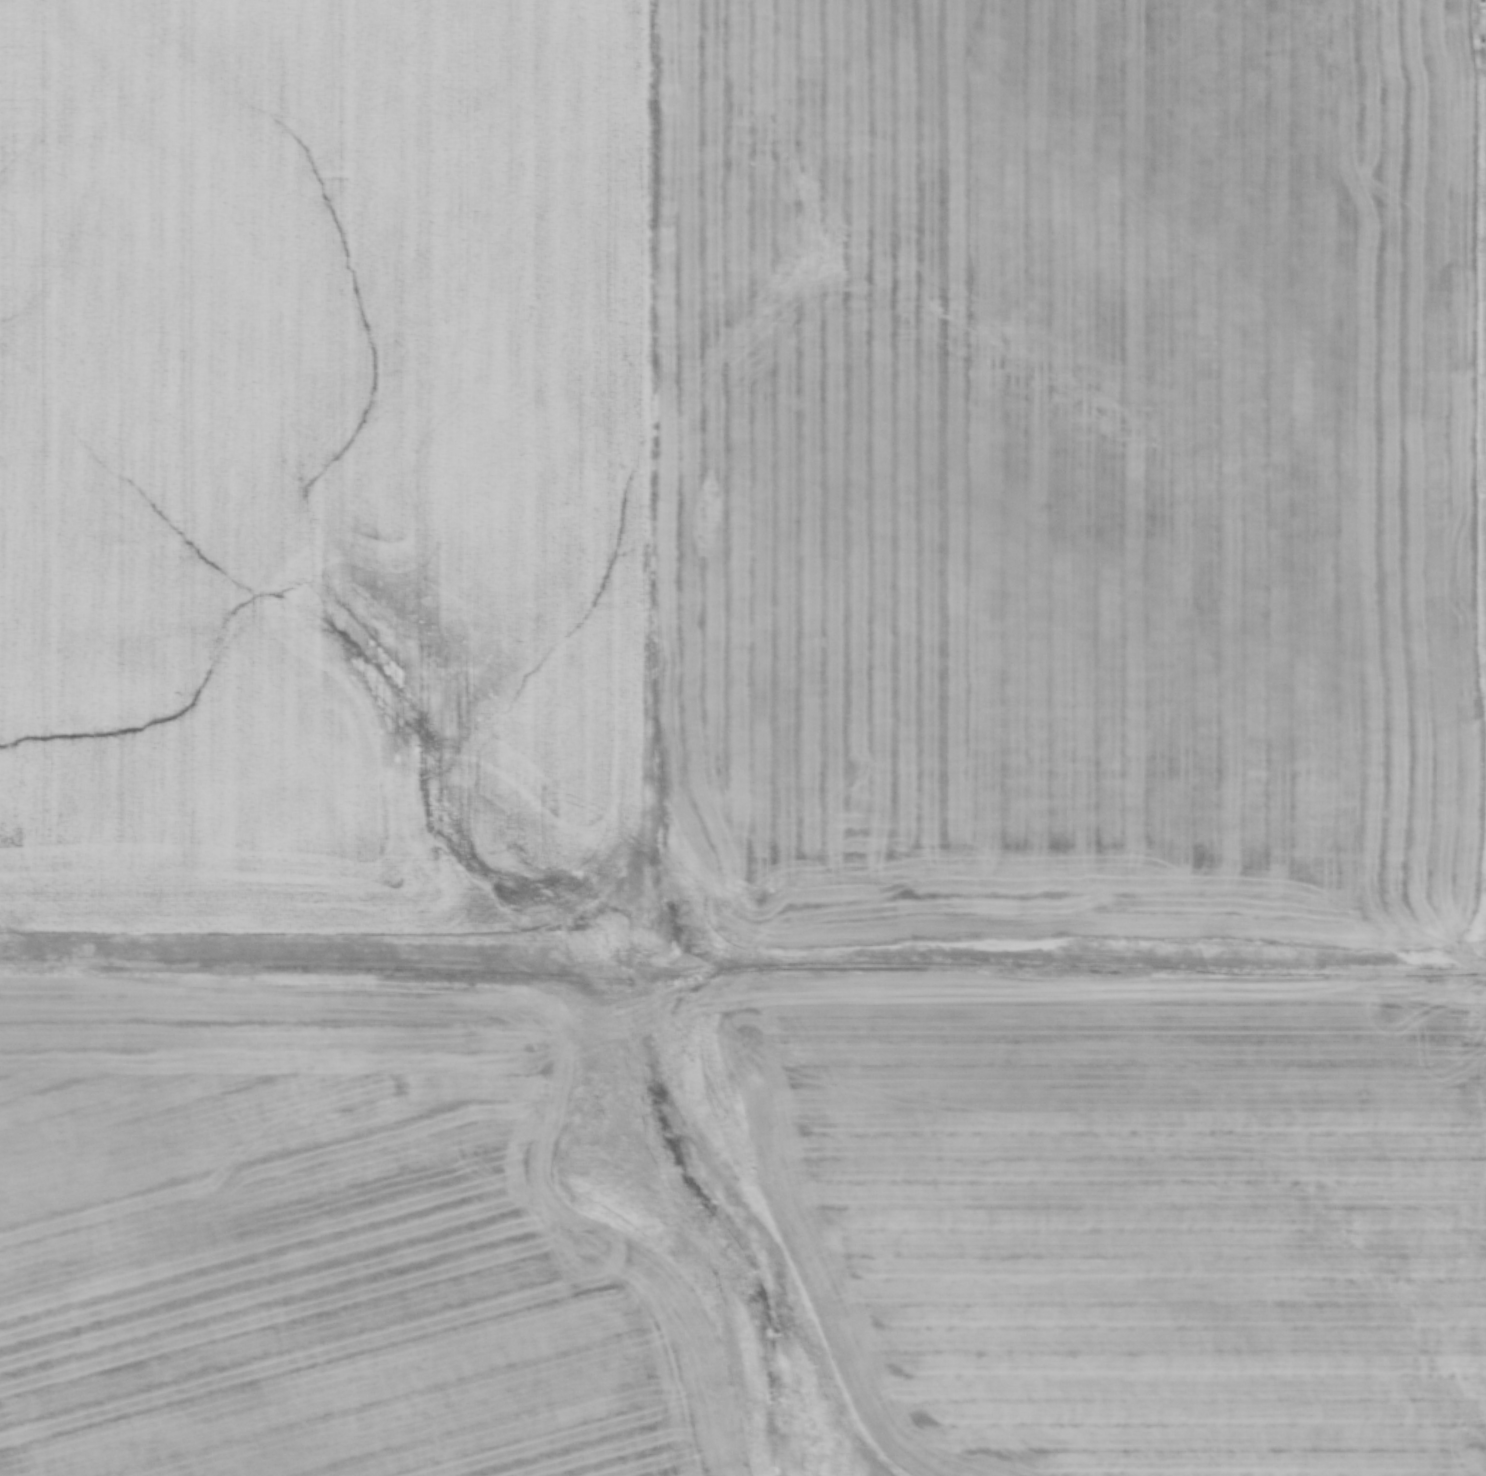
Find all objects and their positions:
road: (742, 974)

